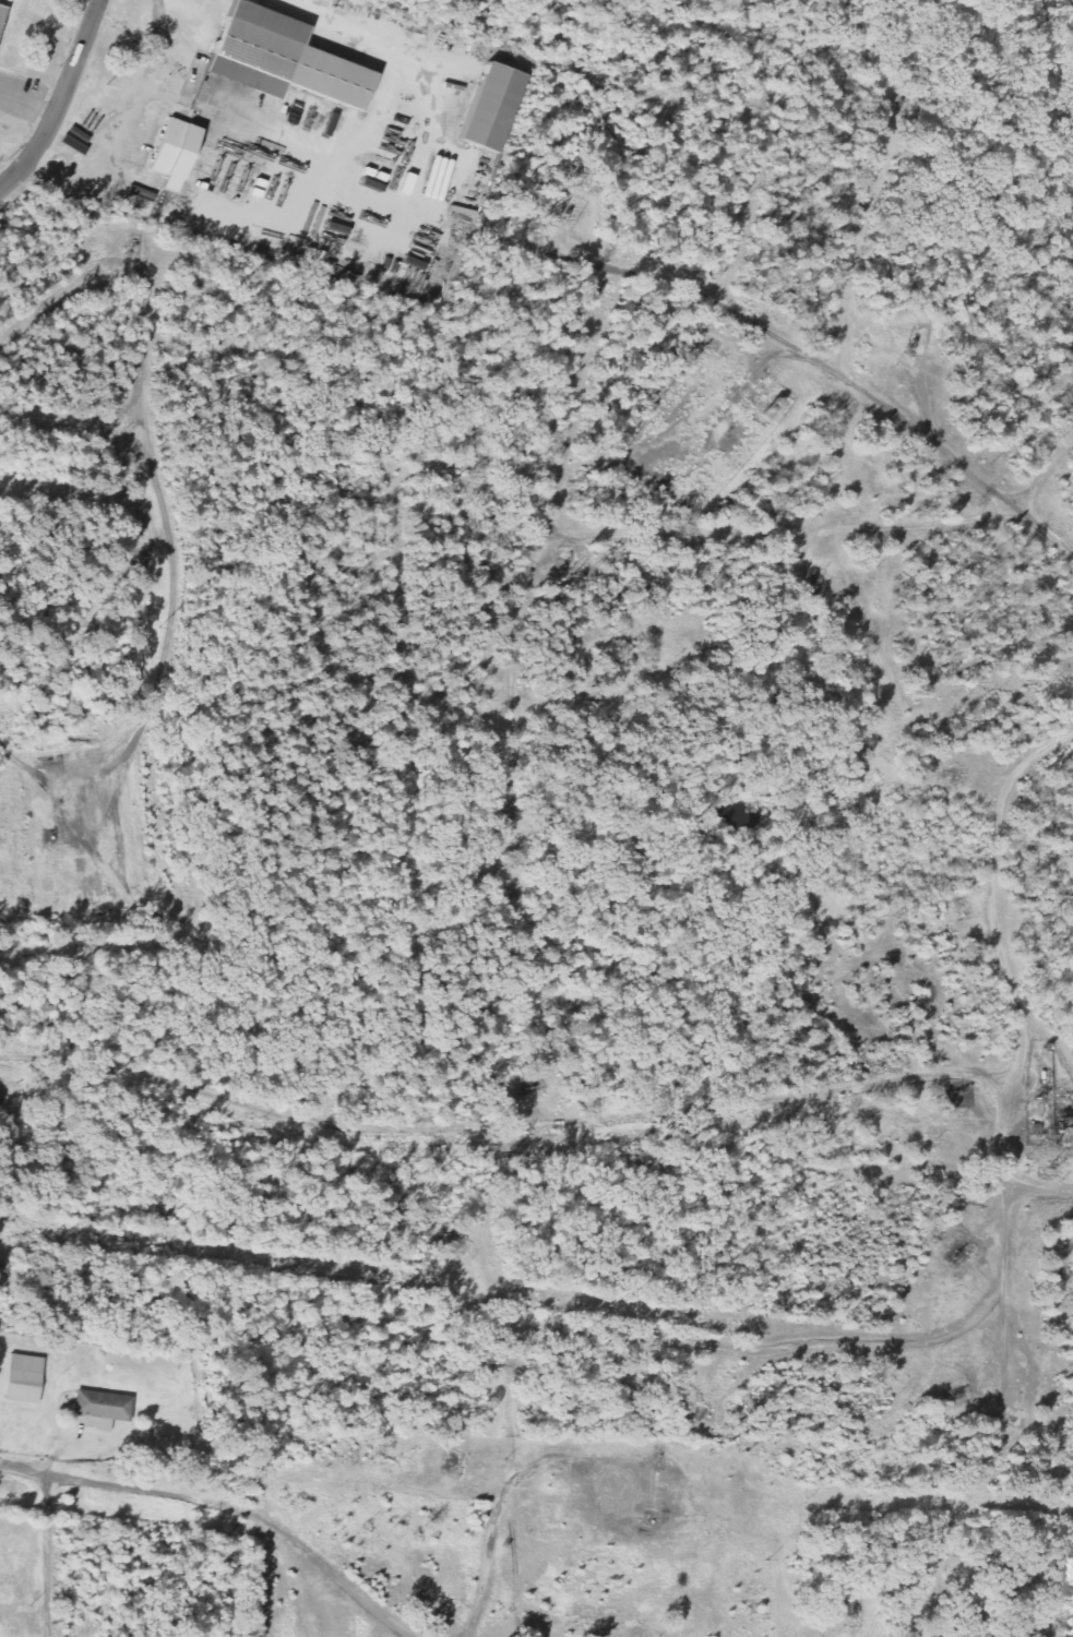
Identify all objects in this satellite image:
building: (1, 12)
building: (255, 49)
road: (60, 101)
road: (27, 107)
building: (489, 109)
building: (171, 154)
road: (821, 363)
road: (584, 366)
road: (927, 398)
road: (62, 425)
road: (648, 444)
road: (557, 501)
road: (396, 511)
road: (830, 530)
road: (174, 549)
road: (514, 684)
road: (90, 778)
road: (69, 813)
road: (502, 1126)
road: (1008, 1185)
road: (1040, 1190)
road: (705, 1348)
building: (23, 1378)
building: (102, 1406)
road: (573, 1463)
road: (94, 1483)
road: (306, 1550)
road: (46, 1554)
road: (514, 1560)
road: (487, 1561)
building: (976, 1622)

